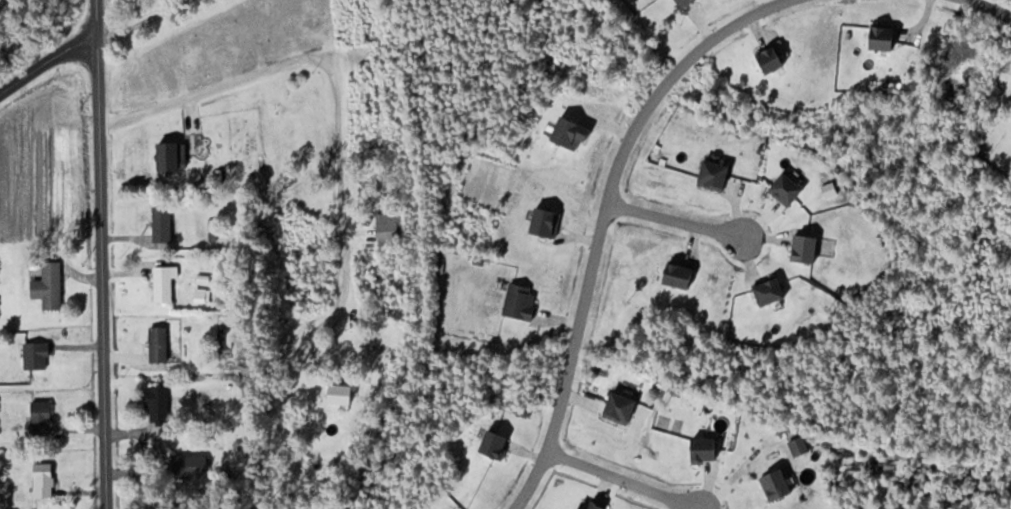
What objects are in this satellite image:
building: (685, 3)
road: (991, 9)
road: (96, 13)
building: (885, 36)
building: (773, 58)
road: (48, 61)
road: (204, 89)
building: (301, 94)
road: (338, 128)
building: (573, 131)
building: (175, 154)
building: (718, 173)
building: (789, 188)
road: (677, 218)
building: (548, 220)
road: (601, 220)
building: (164, 223)
building: (392, 229)
building: (808, 247)
road: (102, 267)
building: (681, 274)
building: (166, 282)
building: (54, 290)
building: (773, 290)
building: (522, 300)
building: (160, 343)
building: (38, 354)
building: (343, 393)
building: (160, 404)
building: (623, 407)
building: (43, 416)
building: (497, 443)
building: (706, 448)
building: (193, 466)
building: (45, 479)
road: (622, 479)
building: (779, 484)
building: (594, 504)

